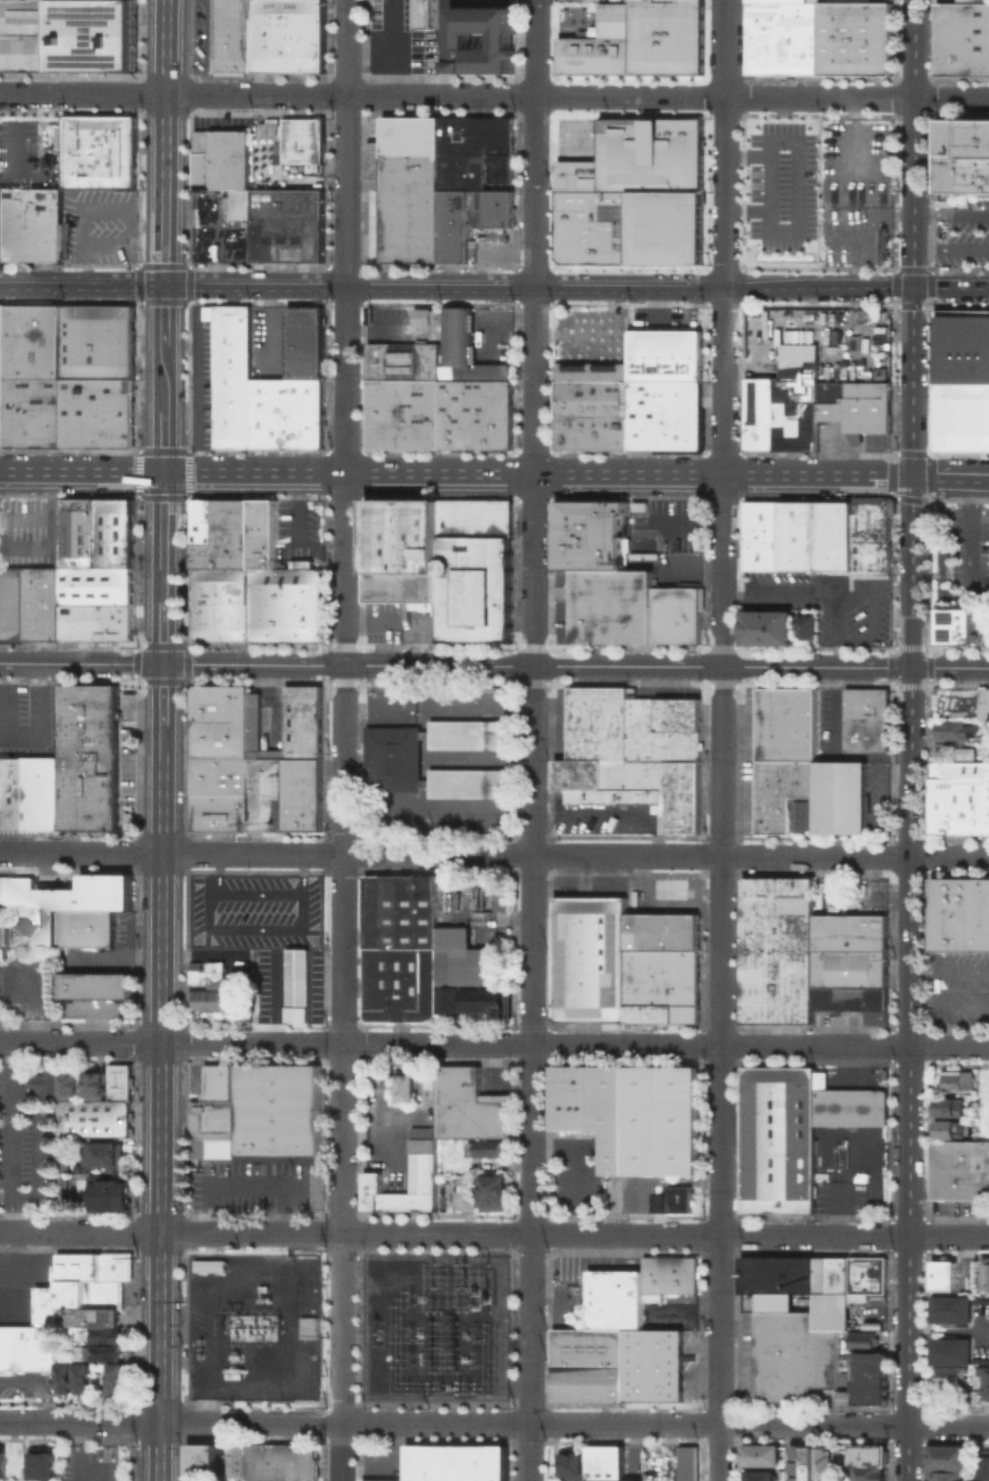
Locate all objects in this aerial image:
building: (579, 0)
parking lot: (946, 0)
building: (33, 1)
building: (102, 1)
building: (763, 1)
building: (972, 1)
building: (423, 14)
road: (443, 19)
building: (459, 35)
building: (267, 36)
building: (28, 37)
building: (96, 37)
building: (781, 38)
building: (853, 38)
building: (962, 38)
road: (446, 39)
road: (459, 39)
road: (481, 39)
road: (502, 39)
road: (523, 39)
building: (638, 39)
road: (207, 47)
road: (390, 47)
building: (452, 66)
building: (461, 66)
building: (469, 66)
building: (477, 66)
building: (492, 66)
road: (443, 67)
building: (485, 67)
building: (500, 67)
building: (508, 67)
road: (494, 95)
building: (295, 138)
road: (852, 139)
road: (164, 142)
building: (471, 148)
parking lot: (31, 151)
building: (98, 152)
building: (962, 157)
building: (201, 158)
parking lot: (854, 161)
building: (502, 166)
building: (231, 167)
road: (769, 182)
building: (411, 188)
parking lot: (781, 190)
building: (633, 194)
building: (490, 207)
road: (94, 210)
road: (951, 213)
building: (30, 225)
building: (268, 225)
building: (304, 225)
building: (454, 225)
parking lot: (98, 226)
parking lot: (961, 229)
parking lot: (854, 235)
road: (914, 237)
road: (109, 246)
building: (124, 248)
road: (951, 248)
road: (82, 285)
traffic signals: (164, 286)
traffic signals: (913, 288)
road: (576, 291)
road: (850, 291)
road: (658, 307)
road: (164, 315)
building: (422, 316)
road: (496, 318)
road: (377, 327)
road: (593, 334)
building: (30, 340)
building: (96, 340)
building: (307, 340)
building: (463, 346)
building: (664, 353)
building: (403, 359)
road: (755, 359)
building: (236, 374)
road: (163, 378)
building: (961, 379)
building: (785, 394)
building: (596, 400)
building: (855, 404)
building: (12, 411)
building: (42, 411)
building: (96, 411)
building: (289, 411)
building: (402, 412)
building: (456, 412)
building: (492, 412)
building: (646, 413)
building: (681, 414)
building: (570, 432)
road: (163, 441)
road: (81, 471)
traffic signals: (163, 472)
road: (442, 473)
road: (816, 475)
traffic signals: (912, 475)
road: (925, 475)
road: (964, 476)
building: (474, 516)
building: (616, 516)
building: (571, 517)
building: (597, 517)
building: (872, 517)
building: (763, 518)
parking lot: (666, 525)
parking lot: (29, 532)
building: (78, 532)
building: (114, 532)
parking lot: (302, 533)
road: (163, 537)
road: (966, 539)
building: (827, 540)
road: (29, 548)
building: (401, 549)
building: (589, 552)
building: (763, 553)
building: (302, 564)
road: (941, 567)
building: (250, 579)
building: (96, 585)
building: (473, 587)
road: (815, 588)
road: (873, 591)
building: (11, 602)
building: (41, 603)
building: (612, 606)
building: (676, 613)
building: (96, 621)
building: (806, 625)
building: (957, 625)
building: (766, 626)
road: (163, 632)
building: (988, 632)
road: (872, 634)
traffic signals: (162, 663)
road: (265, 664)
road: (760, 666)
road: (162, 692)
building: (983, 703)
road: (344, 711)
parking lot: (29, 719)
building: (868, 719)
building: (958, 730)
road: (162, 737)
building: (225, 738)
road: (531, 740)
road: (720, 740)
building: (633, 753)
building: (952, 753)
building: (89, 758)
building: (394, 758)
building: (805, 767)
building: (275, 778)
building: (957, 789)
building: (30, 794)
building: (804, 813)
building: (969, 819)
road: (494, 854)
road: (214, 872)
road: (298, 873)
building: (16, 890)
building: (80, 901)
parking lot: (256, 912)
building: (961, 914)
road: (296, 927)
building: (85, 928)
building: (662, 930)
building: (850, 931)
building: (12, 933)
building: (777, 948)
building: (416, 949)
building: (589, 958)
building: (850, 968)
road: (949, 970)
building: (207, 973)
road: (910, 977)
parking lot: (25, 982)
building: (75, 984)
building: (112, 984)
building: (298, 984)
building: (663, 984)
parking lot: (960, 989)
building: (823, 997)
building: (842, 997)
road: (34, 998)
building: (473, 999)
building: (208, 1000)
building: (871, 1003)
road: (949, 1007)
road: (494, 1043)
building: (69, 1080)
building: (959, 1080)
building: (119, 1081)
building: (216, 1082)
building: (45, 1083)
building: (94, 1083)
building: (405, 1087)
building: (469, 1105)
building: (951, 1107)
building: (631, 1113)
road: (160, 1116)
building: (261, 1116)
building: (94, 1117)
road: (413, 1117)
building: (950, 1127)
road: (361, 1130)
road: (380, 1130)
building: (792, 1131)
road: (12, 1137)
parking lot: (25, 1144)
building: (488, 1147)
road: (36, 1153)
building: (102, 1153)
building: (421, 1154)
building: (64, 1158)
building: (959, 1168)
road: (576, 1169)
building: (63, 1180)
road: (234, 1182)
building: (491, 1191)
building: (109, 1192)
building: (654, 1193)
road: (838, 1194)
road: (494, 1233)
building: (208, 1265)
building: (983, 1272)
building: (830, 1274)
building: (667, 1275)
building: (943, 1275)
building: (777, 1280)
building: (84, 1282)
building: (849, 1292)
building: (596, 1298)
building: (614, 1298)
building: (632, 1298)
building: (950, 1308)
building: (89, 1316)
power substation: (255, 1326)
building: (307, 1327)
power substation: (436, 1327)
building: (108, 1334)
building: (861, 1339)
building: (652, 1342)
building: (587, 1345)
building: (27, 1347)
building: (108, 1350)
building: (951, 1351)
building: (82, 1352)
building: (793, 1356)
power tower: (438, 1360)
building: (869, 1360)
power tower: (356, 1371)
building: (952, 1375)
building: (64, 1376)
building: (117, 1376)
building: (82, 1378)
building: (652, 1378)
building: (869, 1380)
building: (984, 1380)
building: (586, 1381)
road: (36, 1387)
building: (862, 1396)
road: (170, 1421)
road: (664, 1424)
road: (75, 1451)
building: (867, 1451)
road: (341, 1452)
building: (761, 1455)
building: (946, 1456)
building: (194, 1459)
building: (209, 1459)
building: (236, 1460)
building: (1, 1461)
building: (41, 1461)
parking lot: (90, 1462)
building: (279, 1462)
building: (454, 1462)
building: (800, 1462)
building: (822, 1462)
building: (867, 1462)
building: (607, 1463)
building: (689, 1463)
building: (572, 1465)
building: (983, 1467)
building: (868, 1473)
building: (759, 1475)
building: (945, 1475)
building: (47, 1480)

